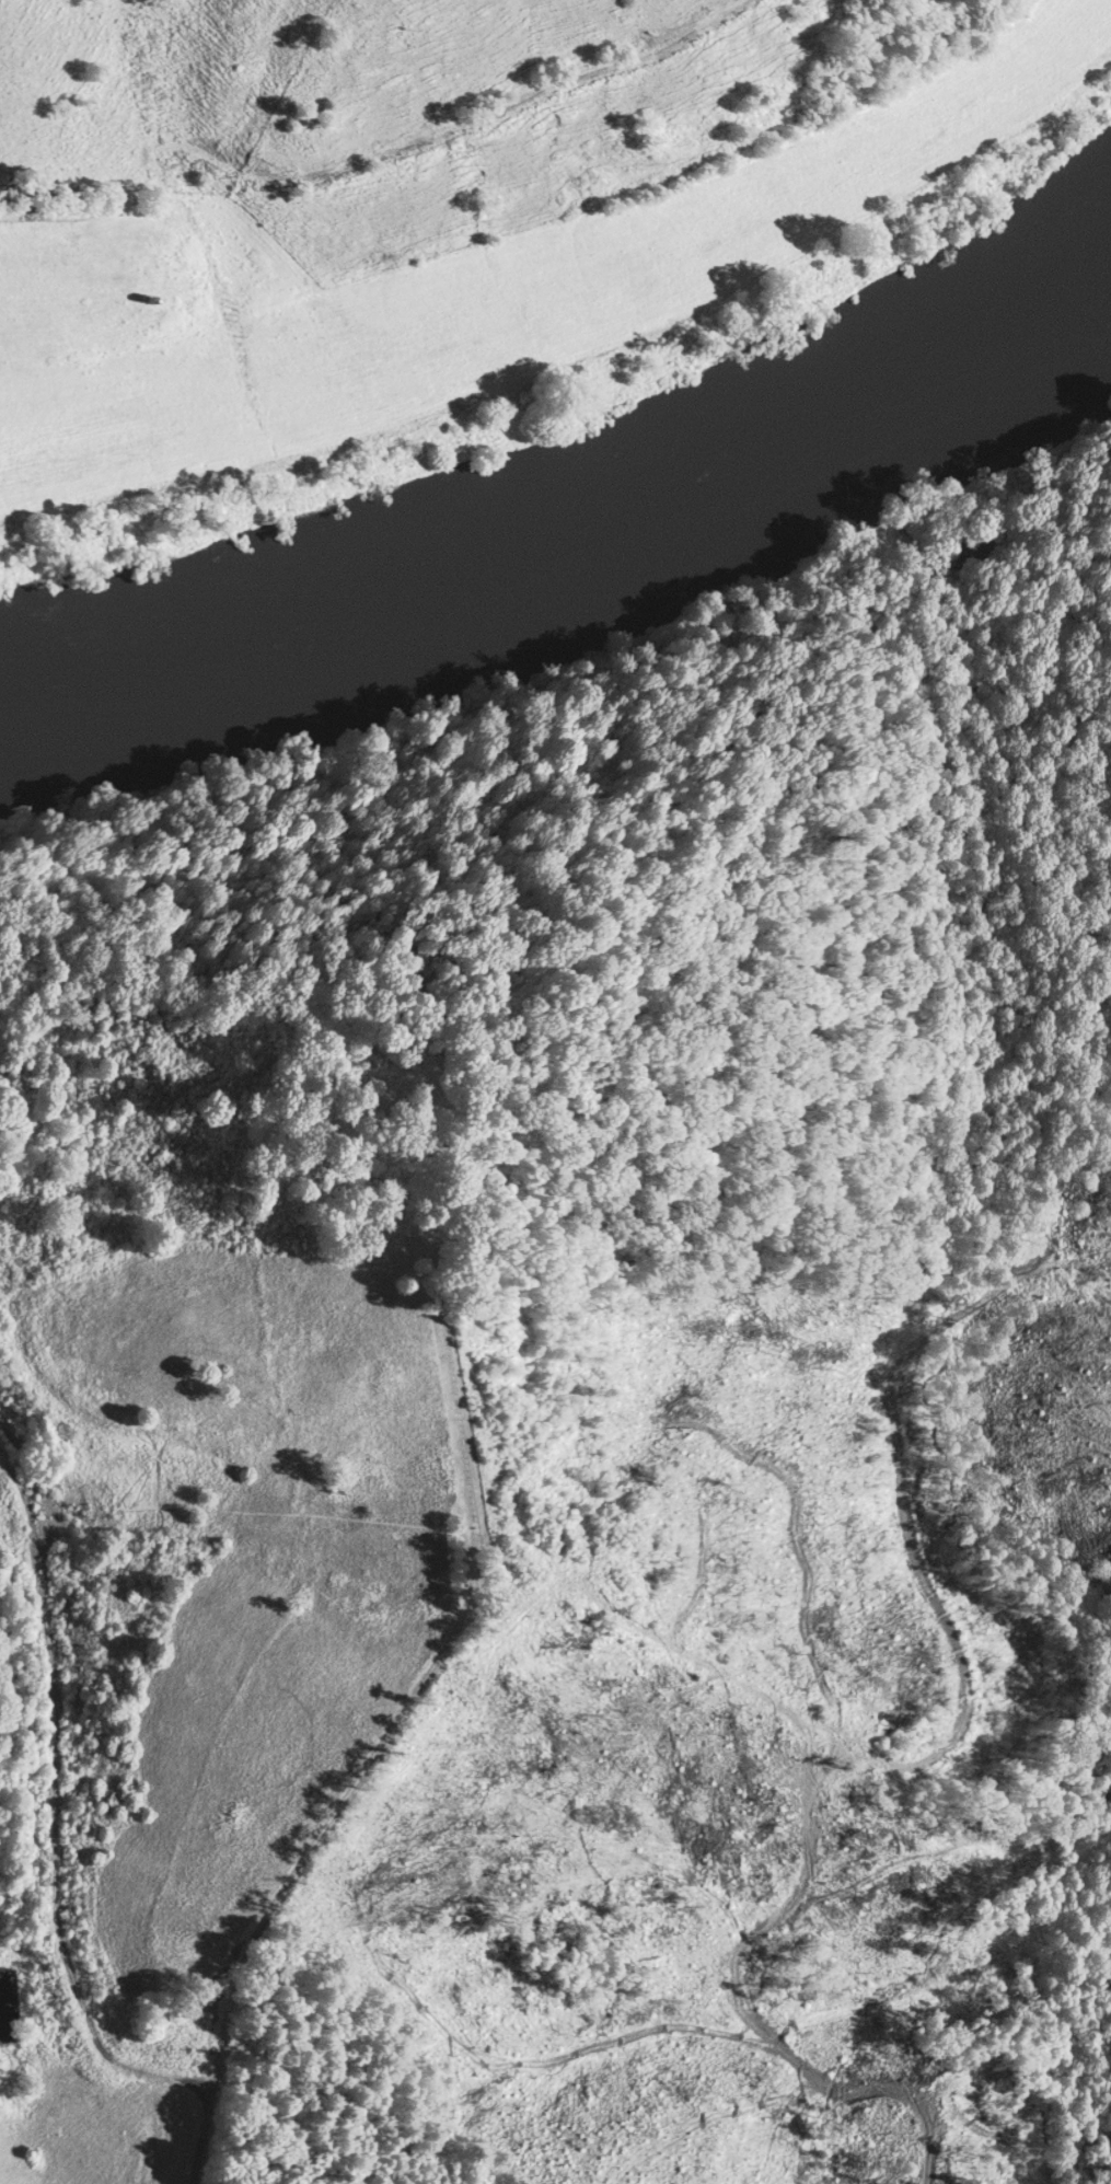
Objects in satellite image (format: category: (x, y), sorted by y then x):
river: (952, 370)
river: (410, 628)
road: (371, 1758)
road: (59, 1794)

